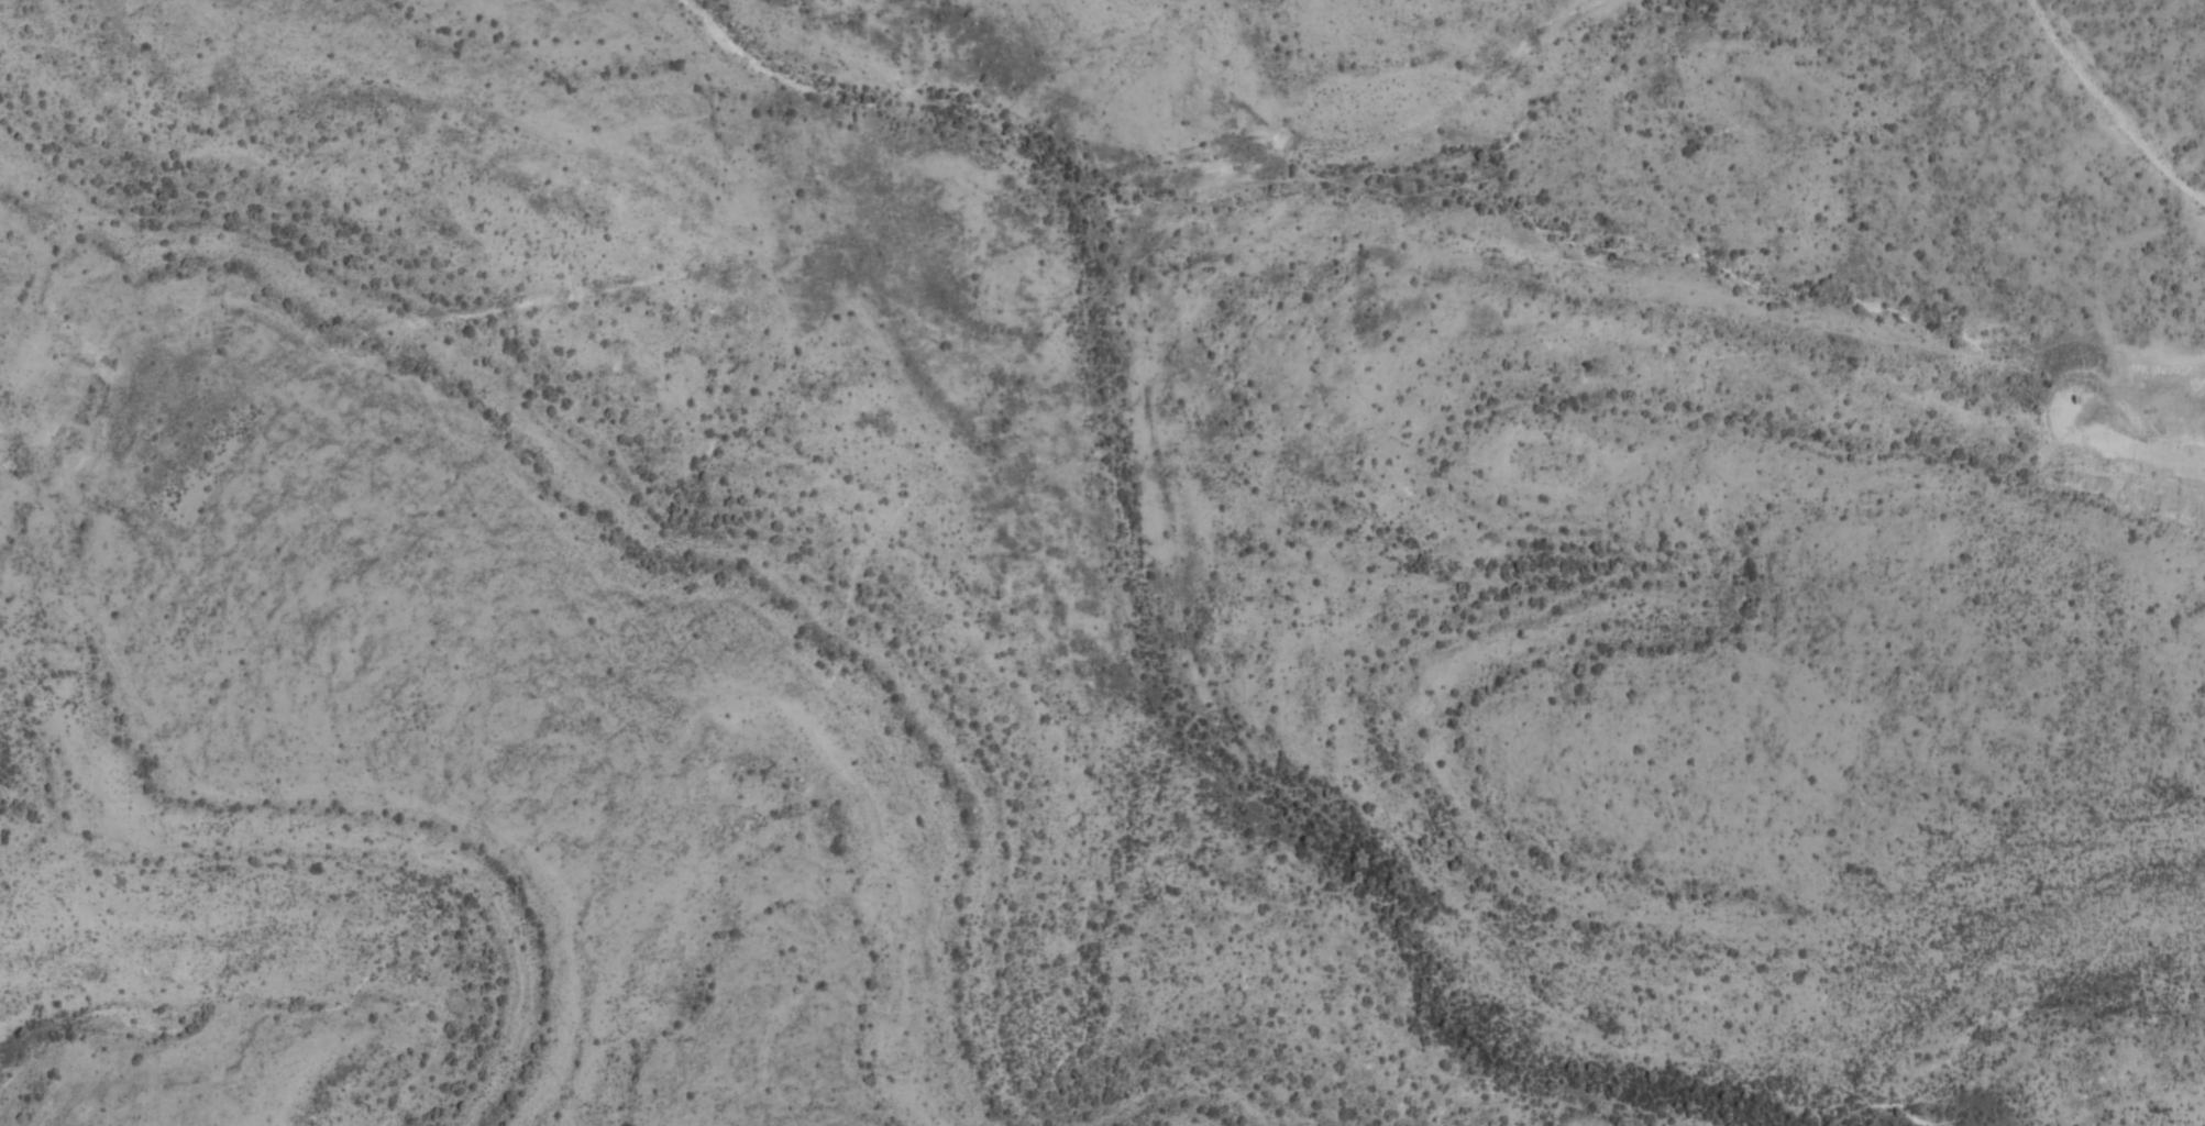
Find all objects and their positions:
road: (2110, 108)
park: (1100, 544)

